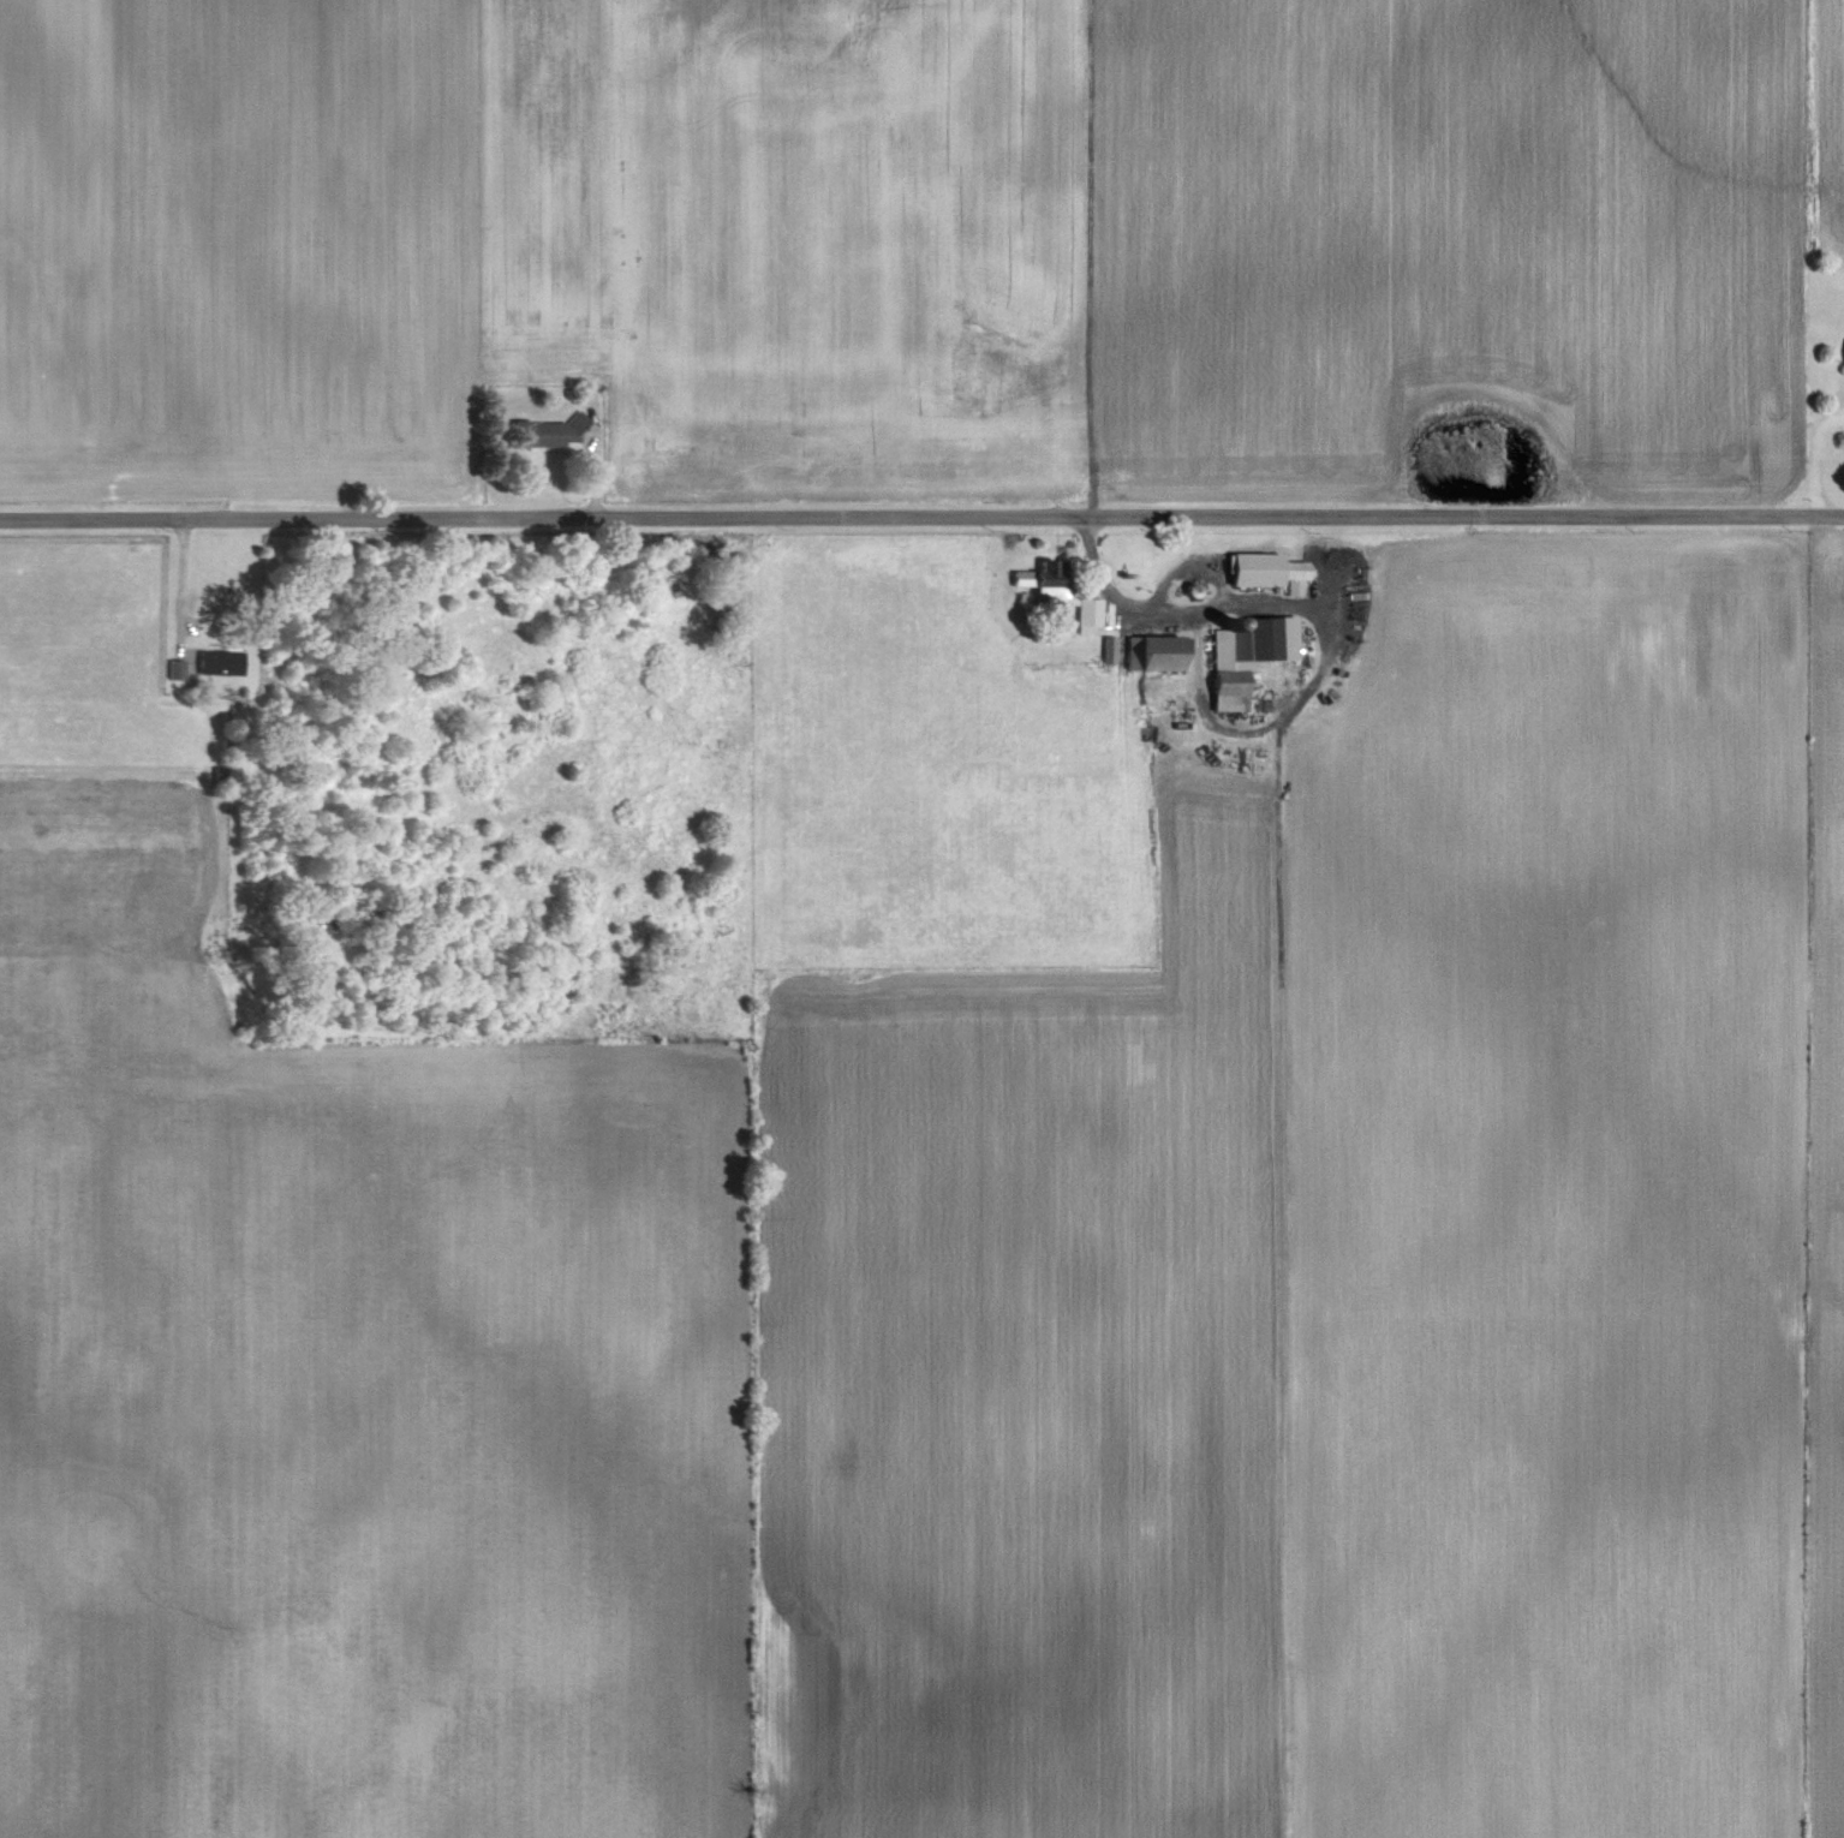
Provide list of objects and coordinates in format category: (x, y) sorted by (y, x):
building: (548, 434)
road: (921, 518)
building: (1270, 572)
road: (178, 580)
building: (1061, 593)
building: (1156, 652)
building: (1248, 656)
building: (221, 663)
building: (177, 670)

